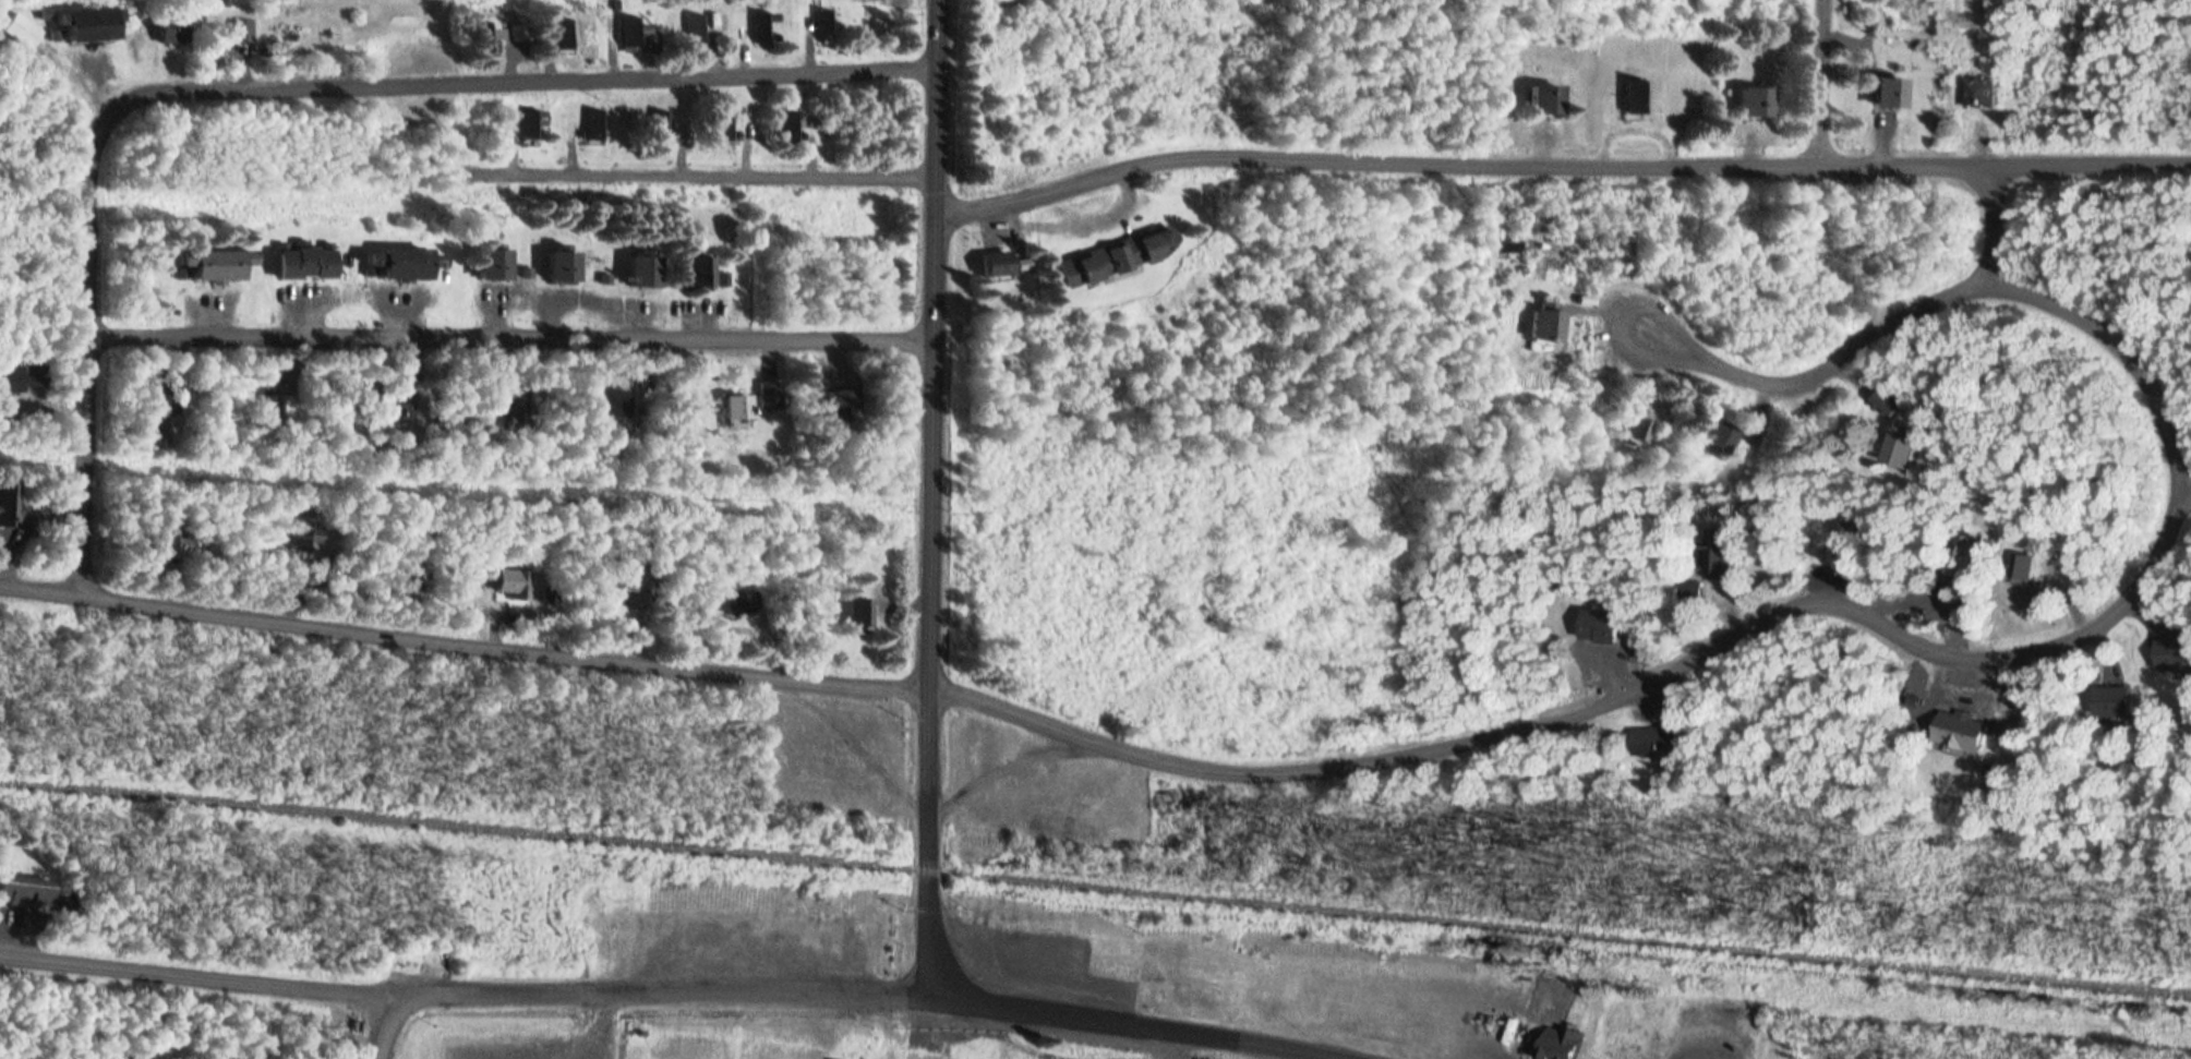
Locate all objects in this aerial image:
building: (826, 24)
building: (89, 25)
building: (878, 27)
building: (241, 29)
building: (699, 29)
building: (24, 31)
building: (761, 31)
building: (633, 32)
building: (170, 34)
building: (568, 34)
building: (491, 38)
road: (521, 77)
road: (1830, 83)
building: (1888, 93)
building: (1637, 95)
building: (1543, 98)
building: (1754, 103)
building: (665, 124)
building: (537, 125)
building: (600, 125)
building: (726, 125)
building: (795, 125)
road: (1562, 163)
road: (707, 175)
road: (1993, 220)
building: (1119, 256)
building: (304, 261)
building: (399, 263)
building: (995, 263)
building: (212, 264)
building: (493, 264)
building: (561, 265)
building: (641, 270)
building: (699, 270)
building: (1540, 325)
road: (518, 339)
road: (2119, 347)
road: (101, 354)
building: (34, 375)
road: (1810, 377)
building: (9, 378)
building: (772, 395)
building: (842, 402)
building: (612, 404)
building: (1882, 404)
building: (737, 406)
building: (396, 407)
building: (516, 414)
building: (1635, 425)
building: (1716, 437)
building: (1898, 449)
road: (934, 496)
building: (8, 505)
building: (303, 532)
building: (170, 543)
building: (1714, 551)
building: (1957, 554)
building: (2018, 566)
building: (514, 583)
building: (639, 589)
building: (738, 602)
building: (856, 614)
building: (1599, 626)
building: (2171, 651)
building: (2111, 701)
building: (1959, 729)
building: (1652, 741)
road: (1163, 750)
road: (1009, 756)
railway: (1096, 876)
building: (25, 893)
ski resort: (947, 972)
road: (462, 999)
road: (1157, 1021)
road: (386, 1030)
parking lot: (525, 1034)
building: (1555, 1043)
building: (1687, 1058)

